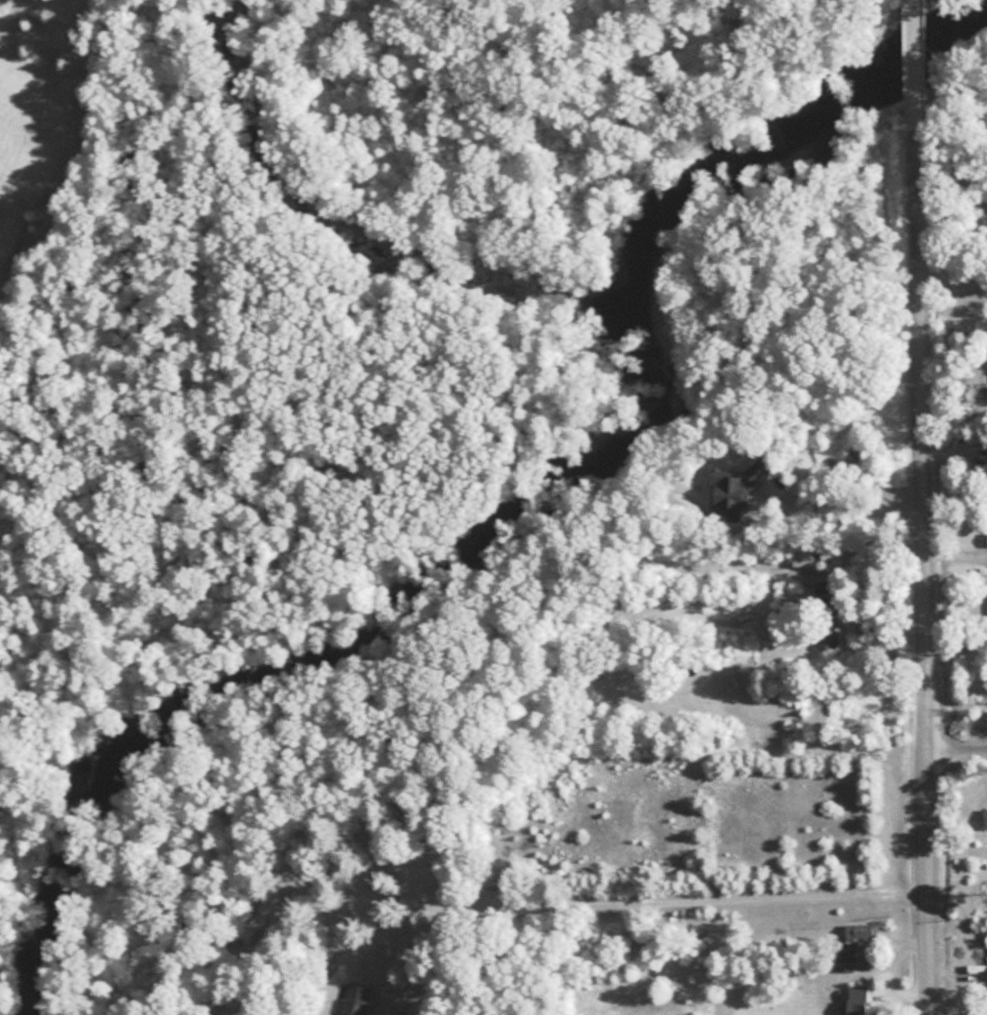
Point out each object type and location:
road: (913, 61)
park: (951, 99)
road: (62, 148)
building: (976, 323)
river: (531, 510)
building: (803, 559)
road: (924, 568)
road: (836, 585)
building: (825, 629)
road: (957, 747)
road: (645, 904)
building: (860, 932)
building: (845, 953)
building: (360, 1000)
building: (857, 1000)

